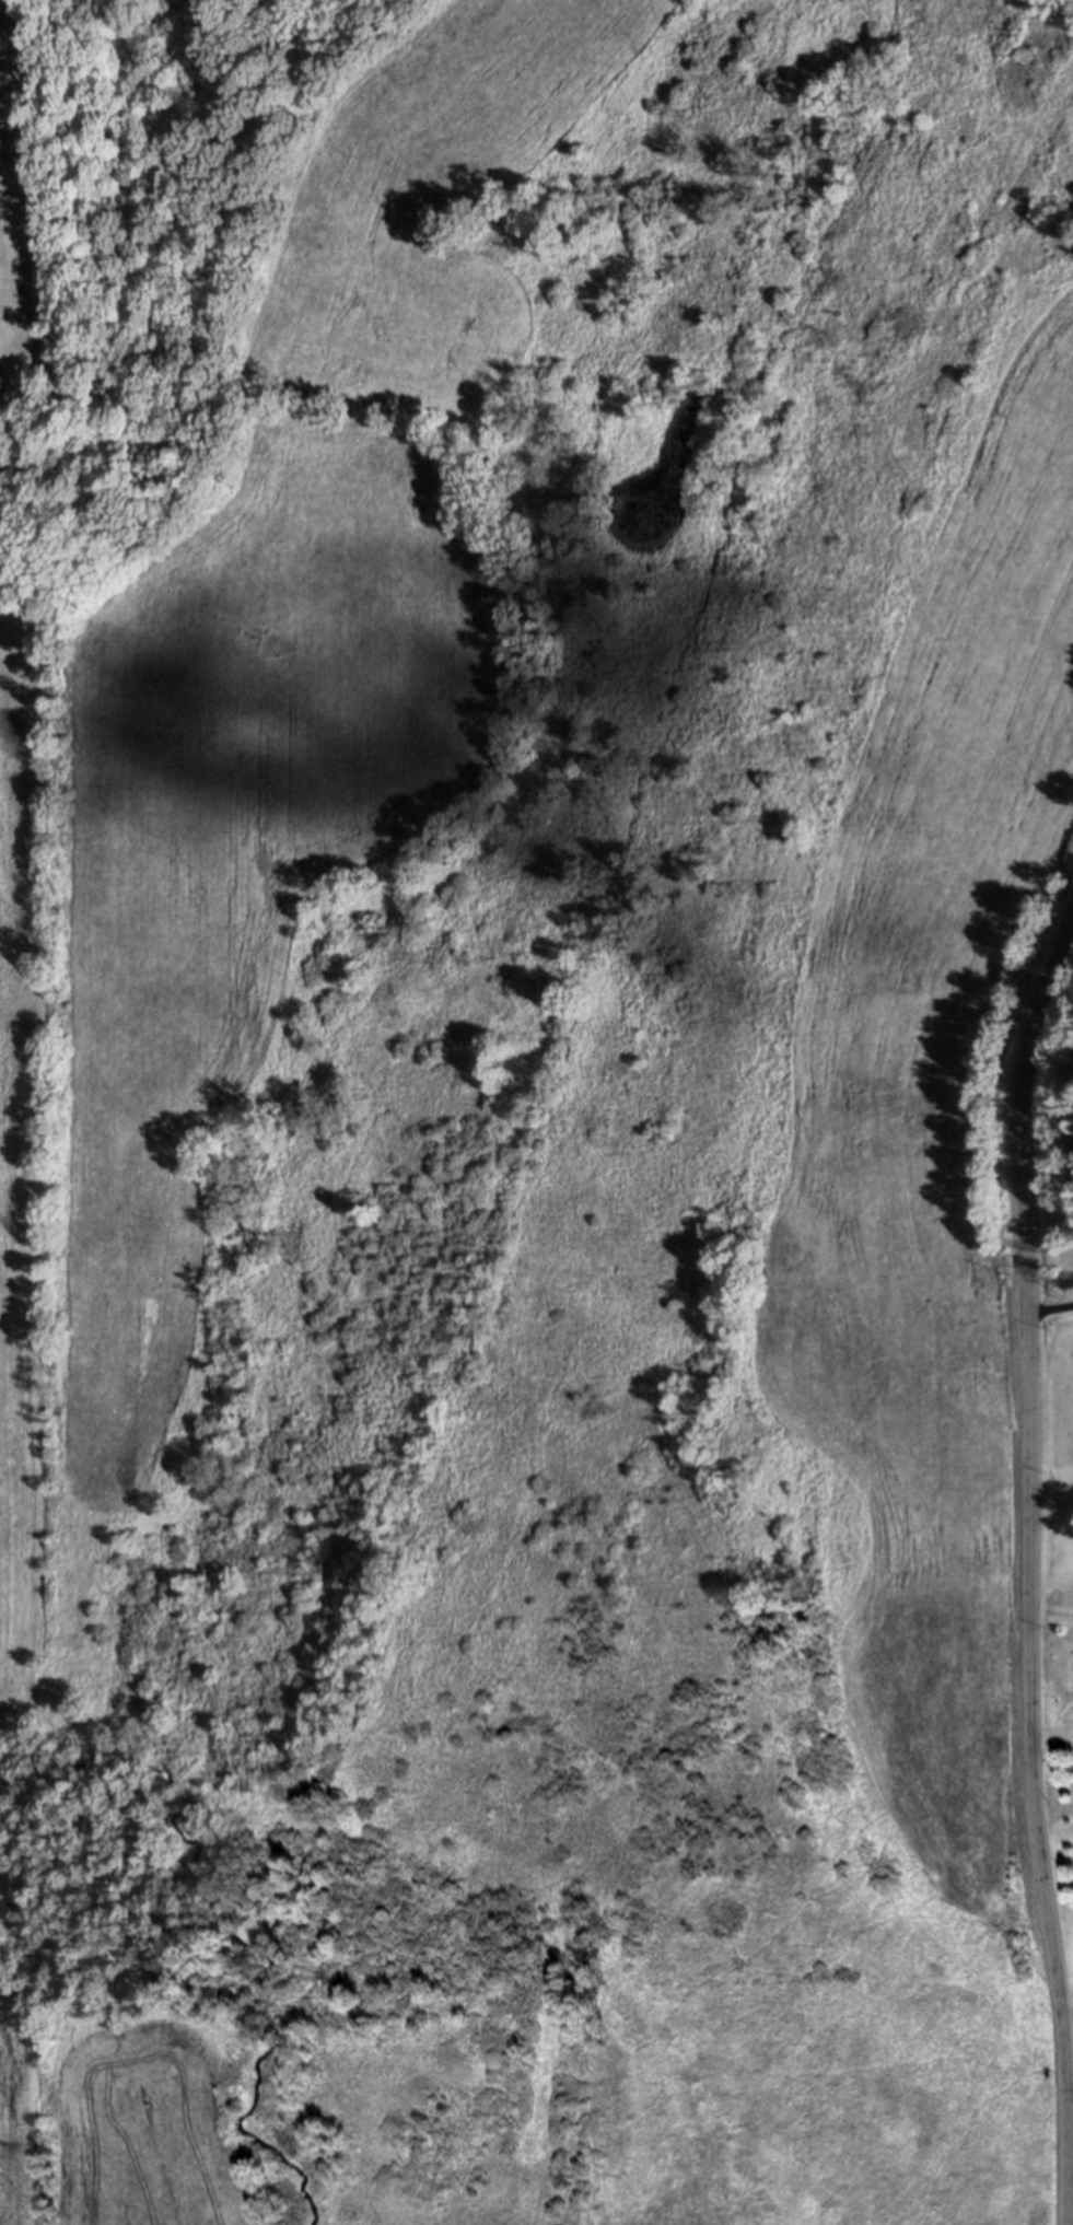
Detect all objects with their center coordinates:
road: (1069, 1173)
road: (1050, 1308)
road: (1051, 1514)
road: (1029, 1570)
road: (1052, 1738)

